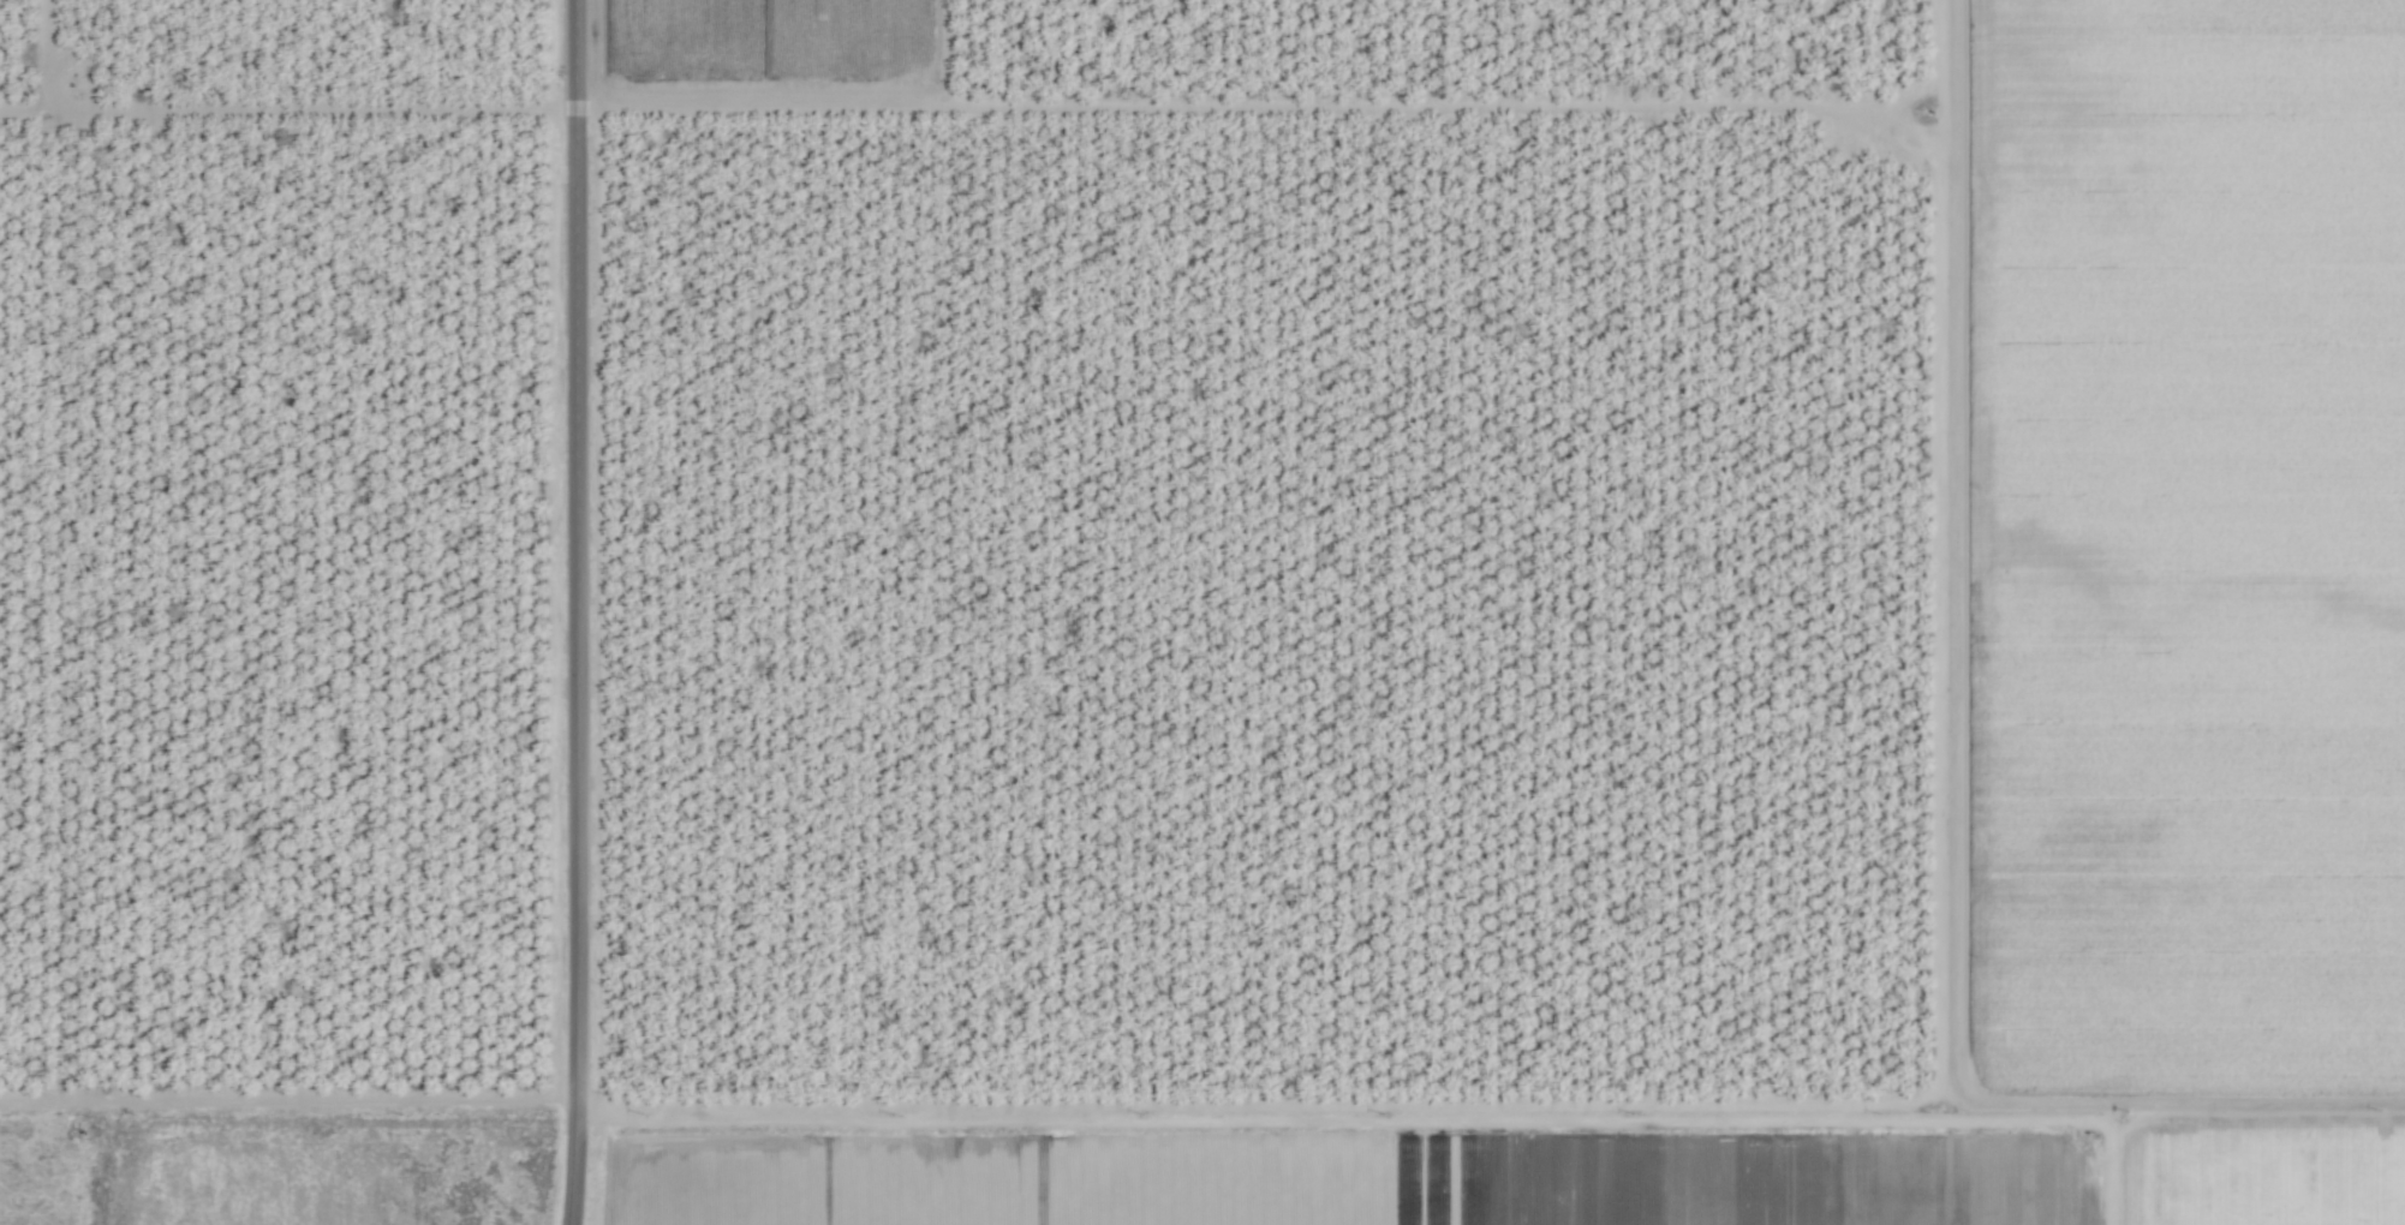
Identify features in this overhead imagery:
road: (575, 612)
crop: (1202, 612)

